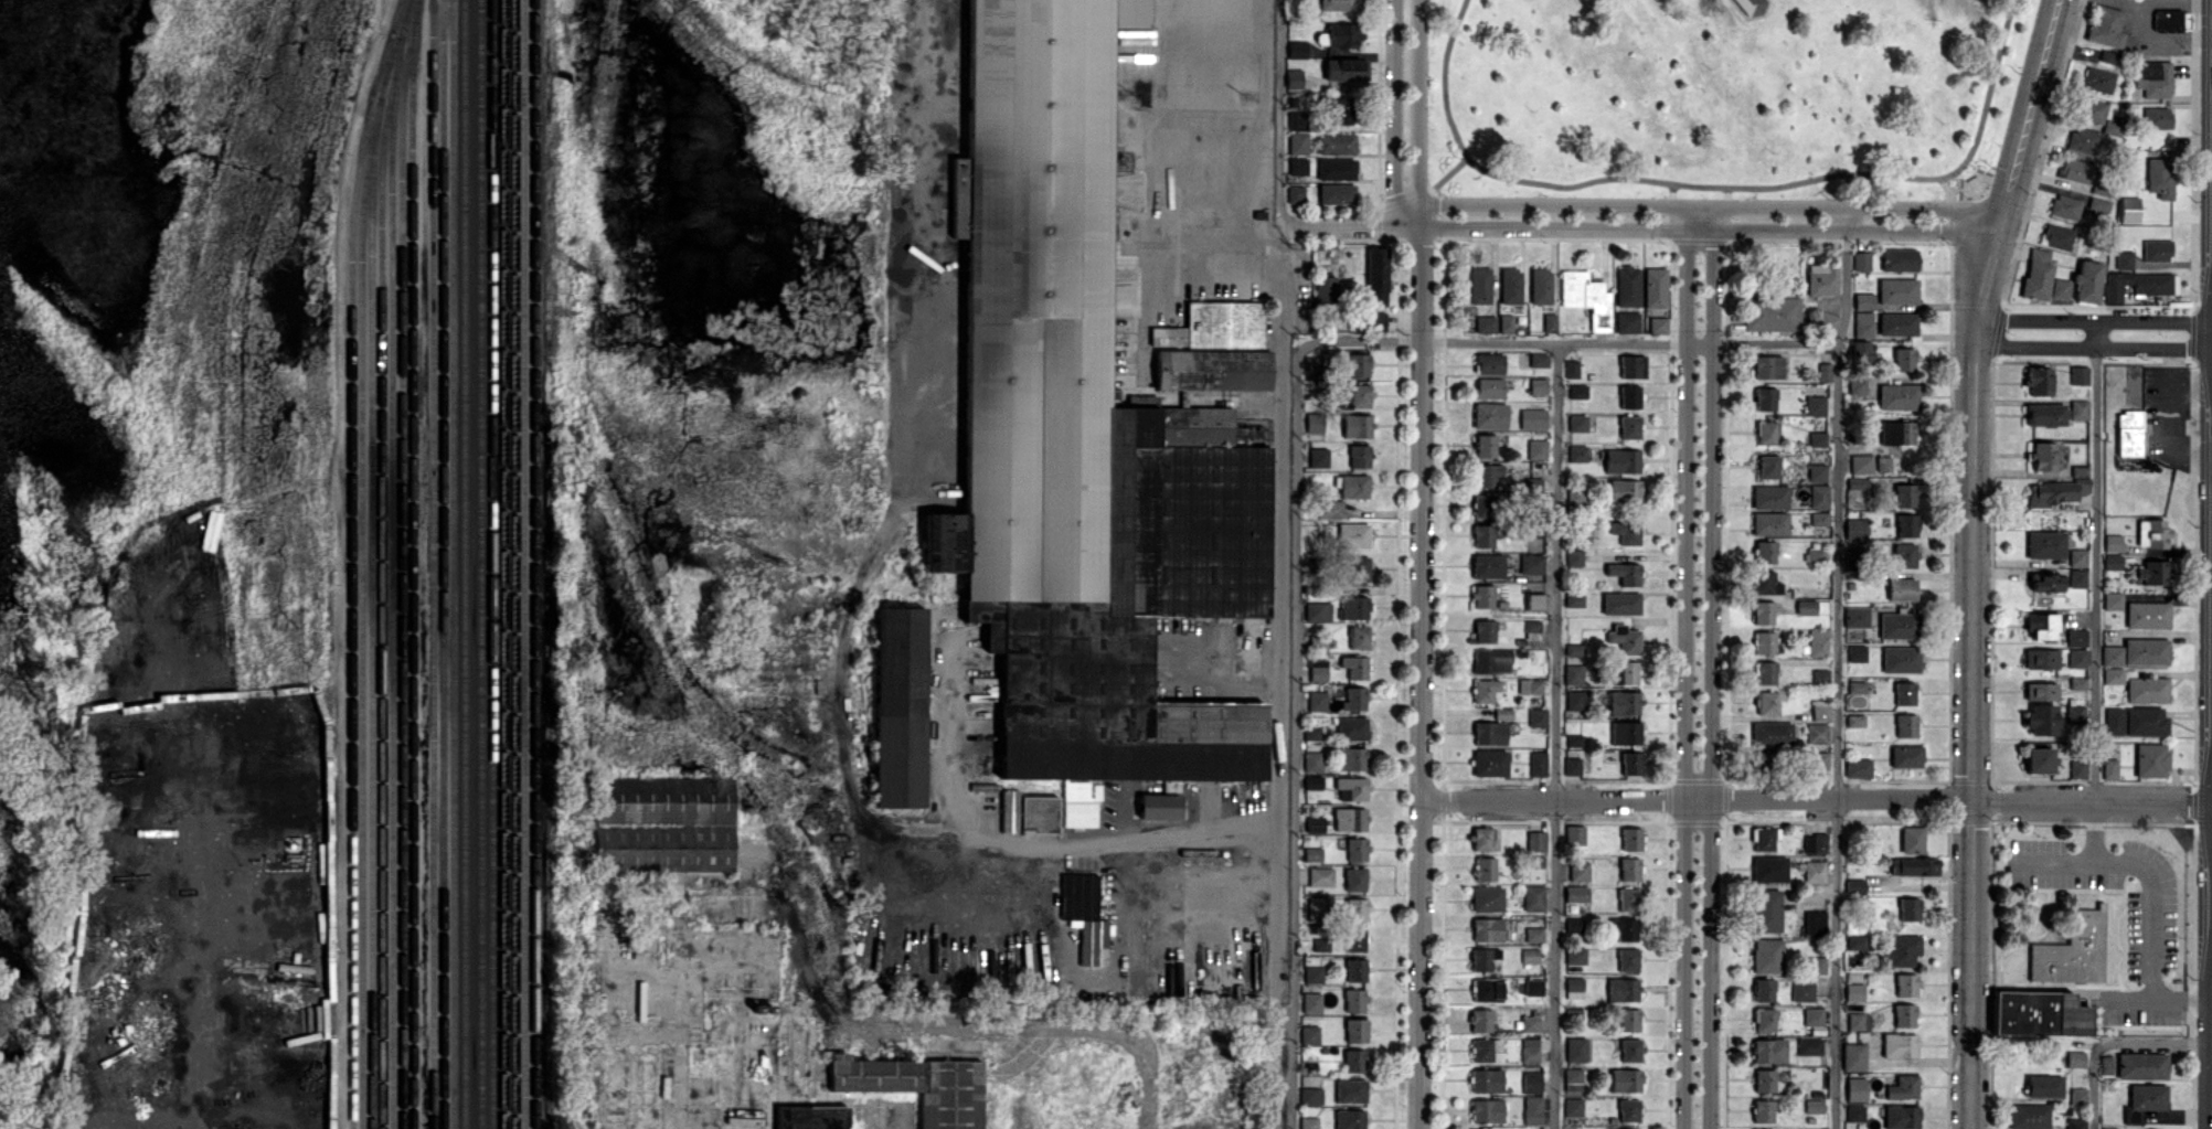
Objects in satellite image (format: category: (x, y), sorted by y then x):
road: (2165, 3)
building: (1337, 4)
building: (1752, 6)
railway: (402, 18)
railway: (404, 18)
building: (2170, 20)
building: (2107, 29)
building: (1342, 34)
road: (2162, 34)
building: (1296, 50)
building: (2108, 56)
building: (1346, 68)
building: (1293, 78)
building: (2155, 78)
building: (2098, 79)
park: (1724, 95)
road: (1988, 95)
road: (1447, 103)
building: (1340, 109)
road: (1418, 109)
building: (2091, 109)
road: (1394, 110)
road: (1280, 111)
building: (2157, 117)
building: (1297, 120)
building: (2110, 127)
building: (2081, 142)
building: (1297, 143)
building: (1336, 143)
building: (1297, 166)
building: (1336, 169)
building: (2074, 170)
flagpole: (1974, 172)
road: (2014, 173)
flagpole: (1968, 174)
flagpole: (1963, 177)
building: (2159, 177)
road: (1700, 182)
road: (1946, 187)
building: (1295, 193)
building: (1336, 193)
building: (2098, 204)
building: (2064, 206)
building: (2128, 209)
road: (1641, 217)
road: (925, 227)
building: (2156, 249)
building: (1899, 259)
building: (1860, 260)
building: (2119, 260)
building: (2036, 274)
building: (1375, 275)
building: (1821, 279)
building: (2087, 281)
building: (2155, 283)
building: (1478, 285)
building: (2116, 285)
building: (1510, 286)
building: (1540, 286)
building: (1627, 286)
building: (1655, 287)
building: (1325, 288)
building: (2060, 288)
building: (1896, 290)
building: (1585, 297)
building: (1863, 300)
building: (1770, 313)
building: (1372, 320)
building: (1827, 320)
building: (1626, 321)
road: (2093, 321)
building: (1504, 322)
building: (1549, 322)
building: (1485, 323)
building: (1862, 323)
building: (1896, 323)
building: (1657, 324)
building: (1213, 326)
road: (1784, 342)
road: (1491, 343)
road: (2092, 348)
building: (1860, 350)
building: (1538, 359)
building: (1903, 359)
building: (1488, 363)
building: (1358, 364)
building: (1311, 366)
building: (1631, 366)
building: (1767, 366)
building: (1571, 369)
building: (1212, 370)
building: (1823, 371)
building: (2078, 374)
building: (2038, 381)
building: (1538, 385)
building: (1855, 386)
building: (1488, 387)
building: (1576, 391)
building: (1628, 396)
building: (1897, 396)
building: (1764, 398)
building: (1815, 405)
building: (2078, 408)
road: (1275, 411)
building: (2044, 414)
building: (1489, 415)
building: (1532, 418)
building: (1314, 422)
building: (1577, 423)
building: (1355, 425)
building: (1628, 426)
building: (1895, 432)
building: (1765, 433)
building: (2128, 433)
building: (1818, 438)
building: (1081, 441)
building: (1485, 445)
building: (1535, 448)
building: (1576, 452)
building: (1358, 456)
building: (1317, 457)
building: (2042, 457)
building: (1621, 460)
building: (1882, 462)
building: (1861, 464)
building: (1768, 466)
building: (1816, 472)
building: (1486, 473)
building: (1532, 482)
building: (1857, 483)
building: (1352, 486)
building: (2059, 489)
building: (1624, 491)
building: (1905, 493)
building: (1818, 496)
building: (1574, 497)
building: (1769, 497)
building: (1483, 505)
building: (1329, 508)
building: (1819, 518)
building: (1768, 523)
building: (1905, 524)
building: (1854, 529)
building: (1625, 531)
building: (2151, 533)
building: (1352, 535)
building: (1482, 535)
building: (2113, 542)
building: (2044, 544)
building: (1764, 552)
building: (1904, 555)
building: (1573, 557)
building: (2077, 557)
building: (2112, 562)
railway: (401, 563)
building: (1531, 563)
railway: (413, 564)
railway: (432, 564)
railway: (443, 564)
railway: (453, 564)
railway: (464, 564)
railway: (480, 564)
railway: (491, 564)
railway: (503, 564)
railway: (512, 564)
railway: (524, 564)
railway: (534, 564)
building: (1487, 566)
road: (2095, 566)
building: (1355, 568)
building: (1624, 573)
building: (2152, 574)
building: (2076, 577)
railway: (351, 579)
railway: (372, 581)
railway: (382, 582)
railway: (392, 582)
building: (2044, 582)
building: (1764, 583)
building: (1901, 589)
building: (1482, 596)
building: (1574, 599)
building: (1534, 600)
building: (2112, 600)
building: (1620, 603)
building: (1805, 606)
building: (1353, 607)
building: (1317, 610)
railway: (361, 611)
building: (1762, 611)
building: (2147, 615)
building: (1855, 616)
building: (1897, 625)
building: (2040, 625)
building: (1531, 629)
building: (1358, 637)
building: (2076, 637)
building: (1624, 638)
building: (1817, 641)
building: (1763, 642)
building: (1573, 649)
building: (2145, 651)
building: (1855, 653)
building: (2110, 656)
building: (2076, 658)
building: (1900, 659)
building: (2040, 659)
building: (1490, 660)
building: (1354, 665)
building: (1317, 669)
building: (1572, 670)
road: (1224, 671)
building: (1627, 672)
building: (1764, 672)
road: (1417, 673)
road: (1680, 673)
road: (1716, 673)
road: (1847, 673)
building: (1820, 675)
building: (2112, 675)
building: (2077, 682)
building: (1529, 685)
building: (1855, 685)
building: (981, 688)
building: (2145, 689)
building: (1483, 690)
building: (2040, 691)
building: (1903, 693)
building: (1353, 697)
building: (1316, 700)
building: (1623, 702)
building: (1766, 703)
building: (1574, 704)
building: (897, 706)
building: (1820, 710)
building: (1502, 713)
building: (2074, 714)
building: (1536, 716)
building: (1854, 720)
building: (2041, 720)
building: (2114, 721)
building: (2145, 722)
building: (1905, 725)
building: (1351, 728)
building: (1489, 733)
building: (1624, 733)
building: (1770, 733)
building: (1816, 733)
building: (1311, 734)
road: (1555, 735)
road: (1297, 736)
road: (1969, 737)
building: (1574, 739)
building: (1905, 756)
building: (1349, 758)
building: (2150, 759)
building: (1818, 760)
building: (2038, 760)
building: (1312, 761)
building: (1762, 761)
building: (1489, 763)
building: (1536, 763)
building: (1630, 763)
building: (1572, 766)
building: (1857, 767)
building: (2077, 769)
building: (2109, 769)
building: (1312, 781)
building: (1351, 788)
road: (1814, 806)
building: (1158, 807)
building: (1028, 812)
building: (1349, 819)
building: (1315, 823)
building: (662, 824)
building: (1574, 834)
road: (1177, 835)
road: (2092, 837)
building: (1481, 839)
building: (1630, 839)
building: (1762, 839)
building: (1911, 839)
building: (1535, 841)
building: (1814, 843)
building: (1355, 849)
building: (1312, 854)
building: (1916, 866)
building: (1483, 869)
building: (1628, 869)
building: (1768, 869)
building: (1578, 871)
building: (1814, 871)
road: (2148, 874)
building: (1320, 876)
building: (1354, 878)
building: (1853, 886)
building: (1575, 894)
building: (1533, 897)
building: (1486, 898)
building: (1627, 899)
building: (1317, 908)
building: (1908, 908)
building: (1355, 909)
building: (1766, 910)
building: (1084, 916)
building: (1814, 922)
building: (1573, 925)
building: (1487, 929)
building: (1624, 929)
building: (1533, 934)
building: (1354, 939)
building: (1855, 942)
building: (1320, 945)
building: (1902, 950)
building: (2072, 950)
building: (1530, 956)
building: (1574, 956)
building: (1766, 956)
building: (1482, 959)
building: (1627, 959)
building: (1815, 965)
building: (1355, 970)
building: (1312, 974)
building: (1905, 984)
building: (1533, 987)
building: (1573, 988)
building: (1486, 989)
building: (1621, 989)
building: (1763, 989)
building: (1801, 991)
building: (1853, 991)
building: (1353, 1000)
building: (1310, 1002)
road: (2161, 1005)
building: (1903, 1014)
building: (2038, 1014)
building: (1812, 1016)
building: (1480, 1020)
building: (1628, 1020)
building: (1764, 1020)
building: (1858, 1021)
building: (1529, 1022)
building: (1355, 1030)
building: (1309, 1034)
building: (1529, 1041)
building: (1899, 1045)
building: (1808, 1046)
building: (1483, 1048)
building: (1575, 1050)
building: (1629, 1050)
road: (2114, 1050)
building: (1768, 1051)
building: (1529, 1055)
building: (1853, 1056)
building: (2075, 1058)
building: (1353, 1059)
building: (2105, 1064)
building: (2141, 1066)
building: (1573, 1078)
building: (1625, 1079)
building: (1764, 1079)
building: (1485, 1080)
building: (1531, 1082)
building: (916, 1086)
building: (2044, 1086)
building: (1902, 1088)
building: (1855, 1089)
building: (1350, 1090)
building: (1310, 1095)
building: (2077, 1095)
building: (2147, 1096)
building: (1814, 1106)
building: (1572, 1107)
building: (1532, 1109)
building: (1487, 1110)
building: (1628, 1110)
building: (1763, 1110)
building: (1854, 1112)
building: (2028, 1116)
building: (810, 1117)
building: (1901, 1117)
building: (1349, 1118)
building: (1308, 1122)
building: (2075, 1123)
building: (1615, 1128)
building: (2104, 1128)

